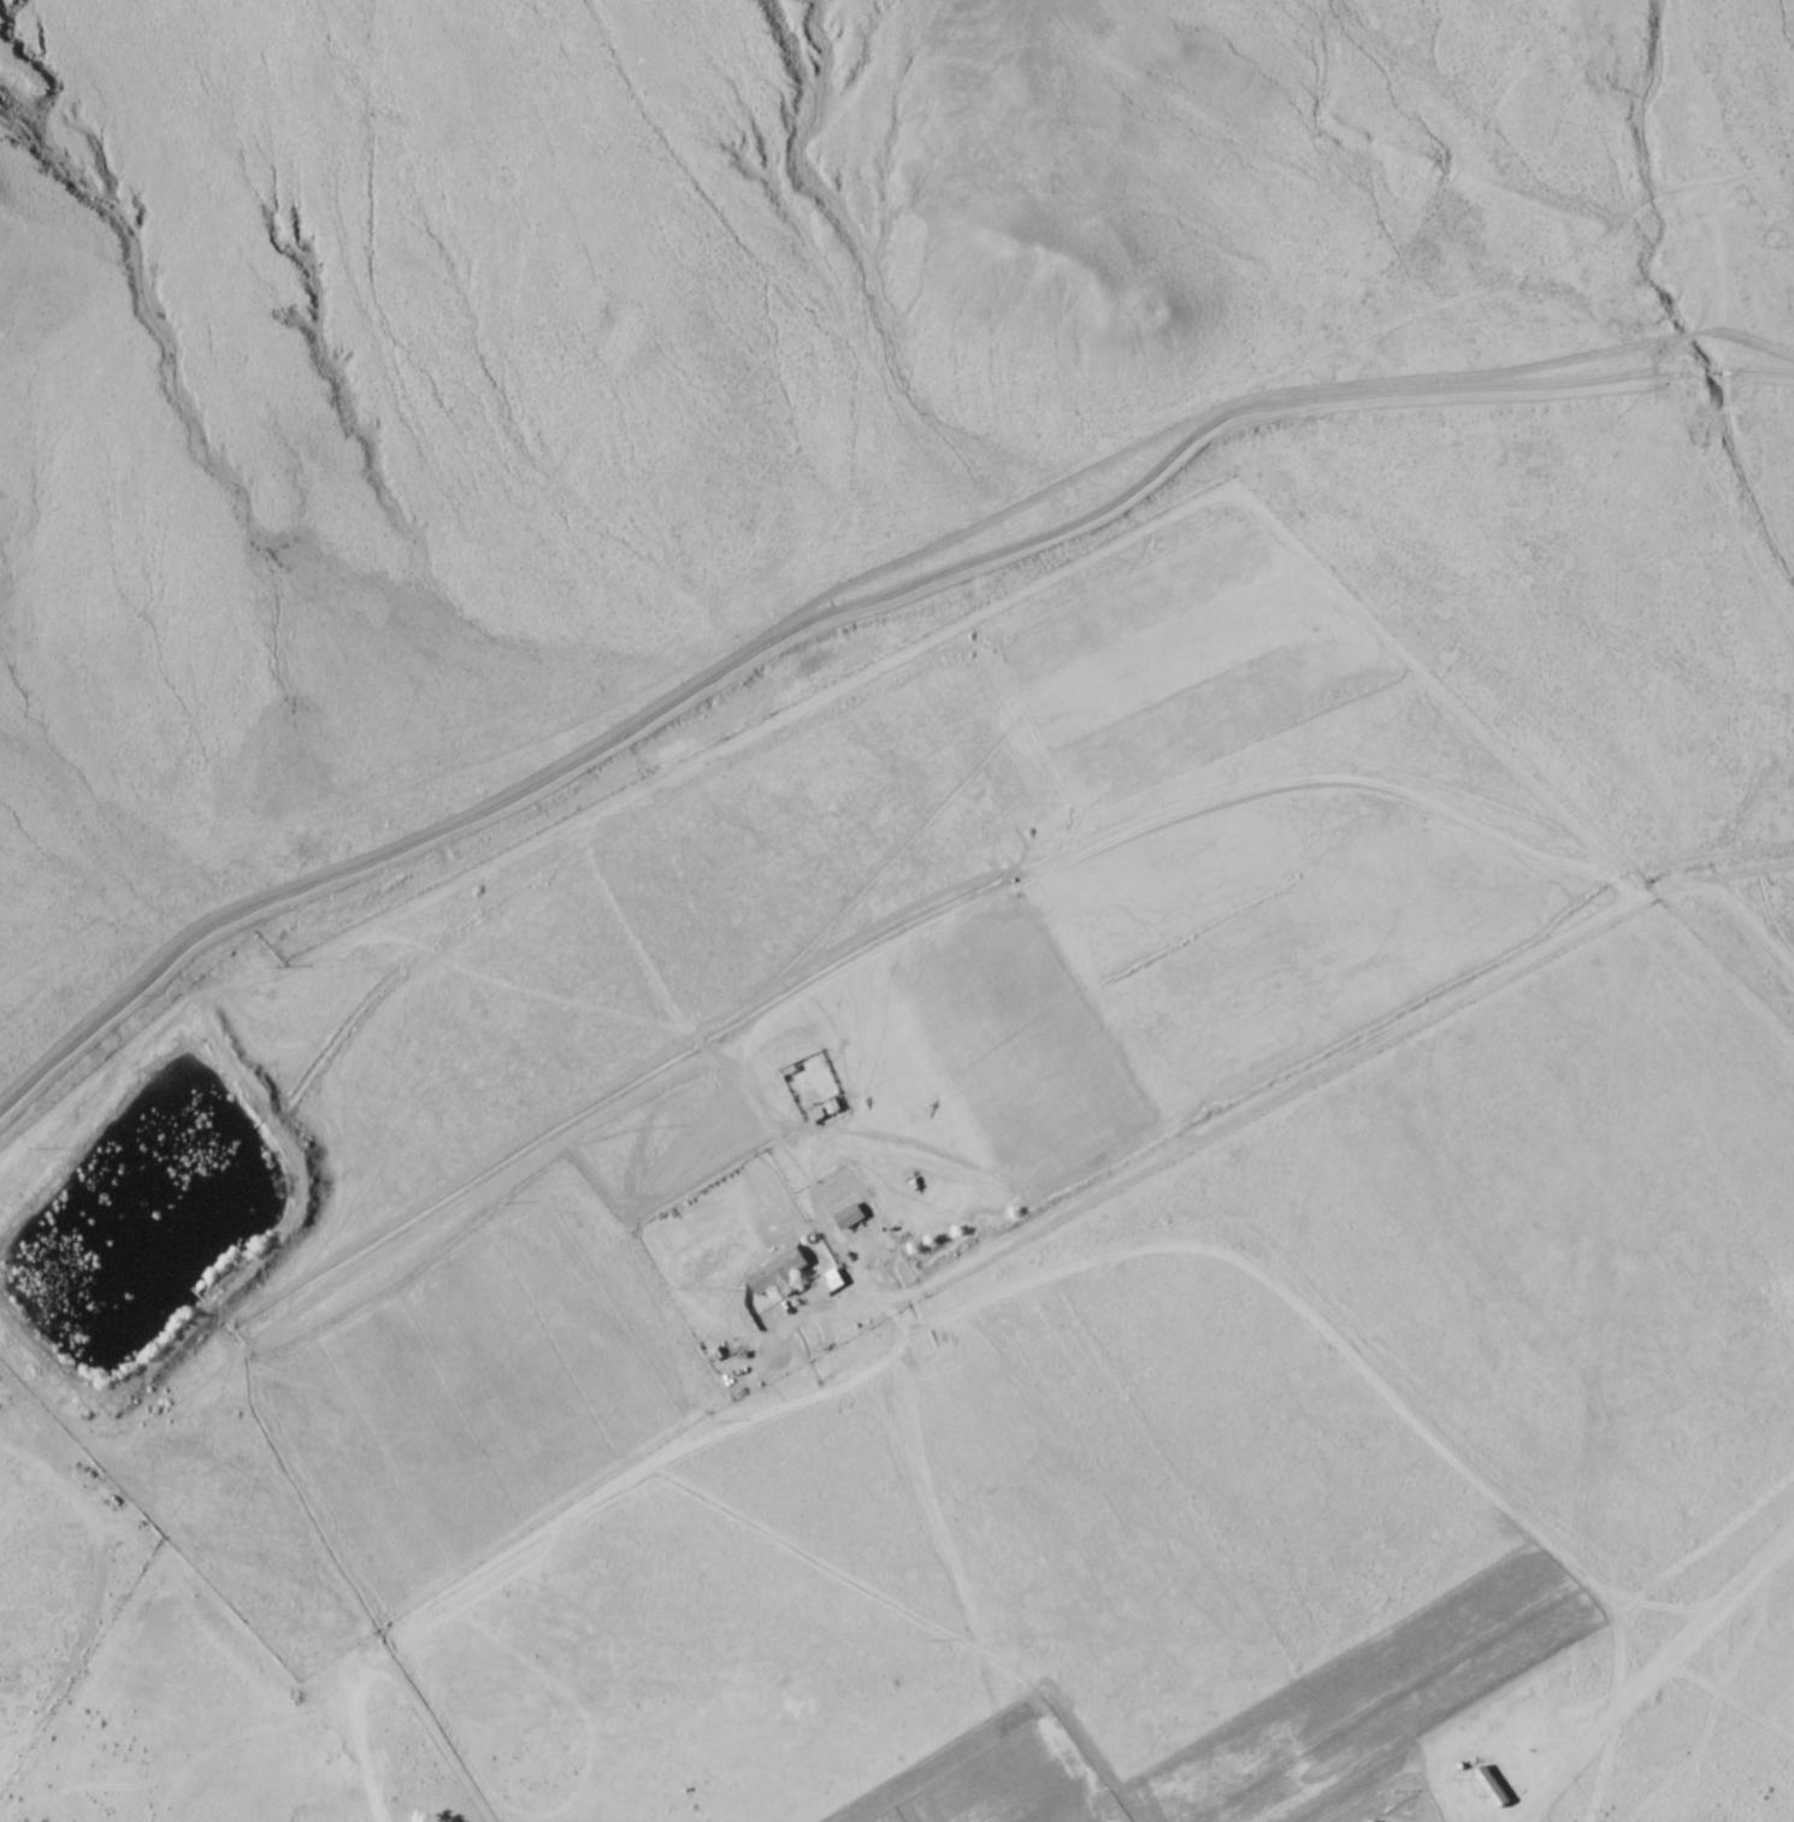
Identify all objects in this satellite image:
road: (849, 623)
road: (1753, 921)
building: (775, 1273)
building: (826, 1283)

